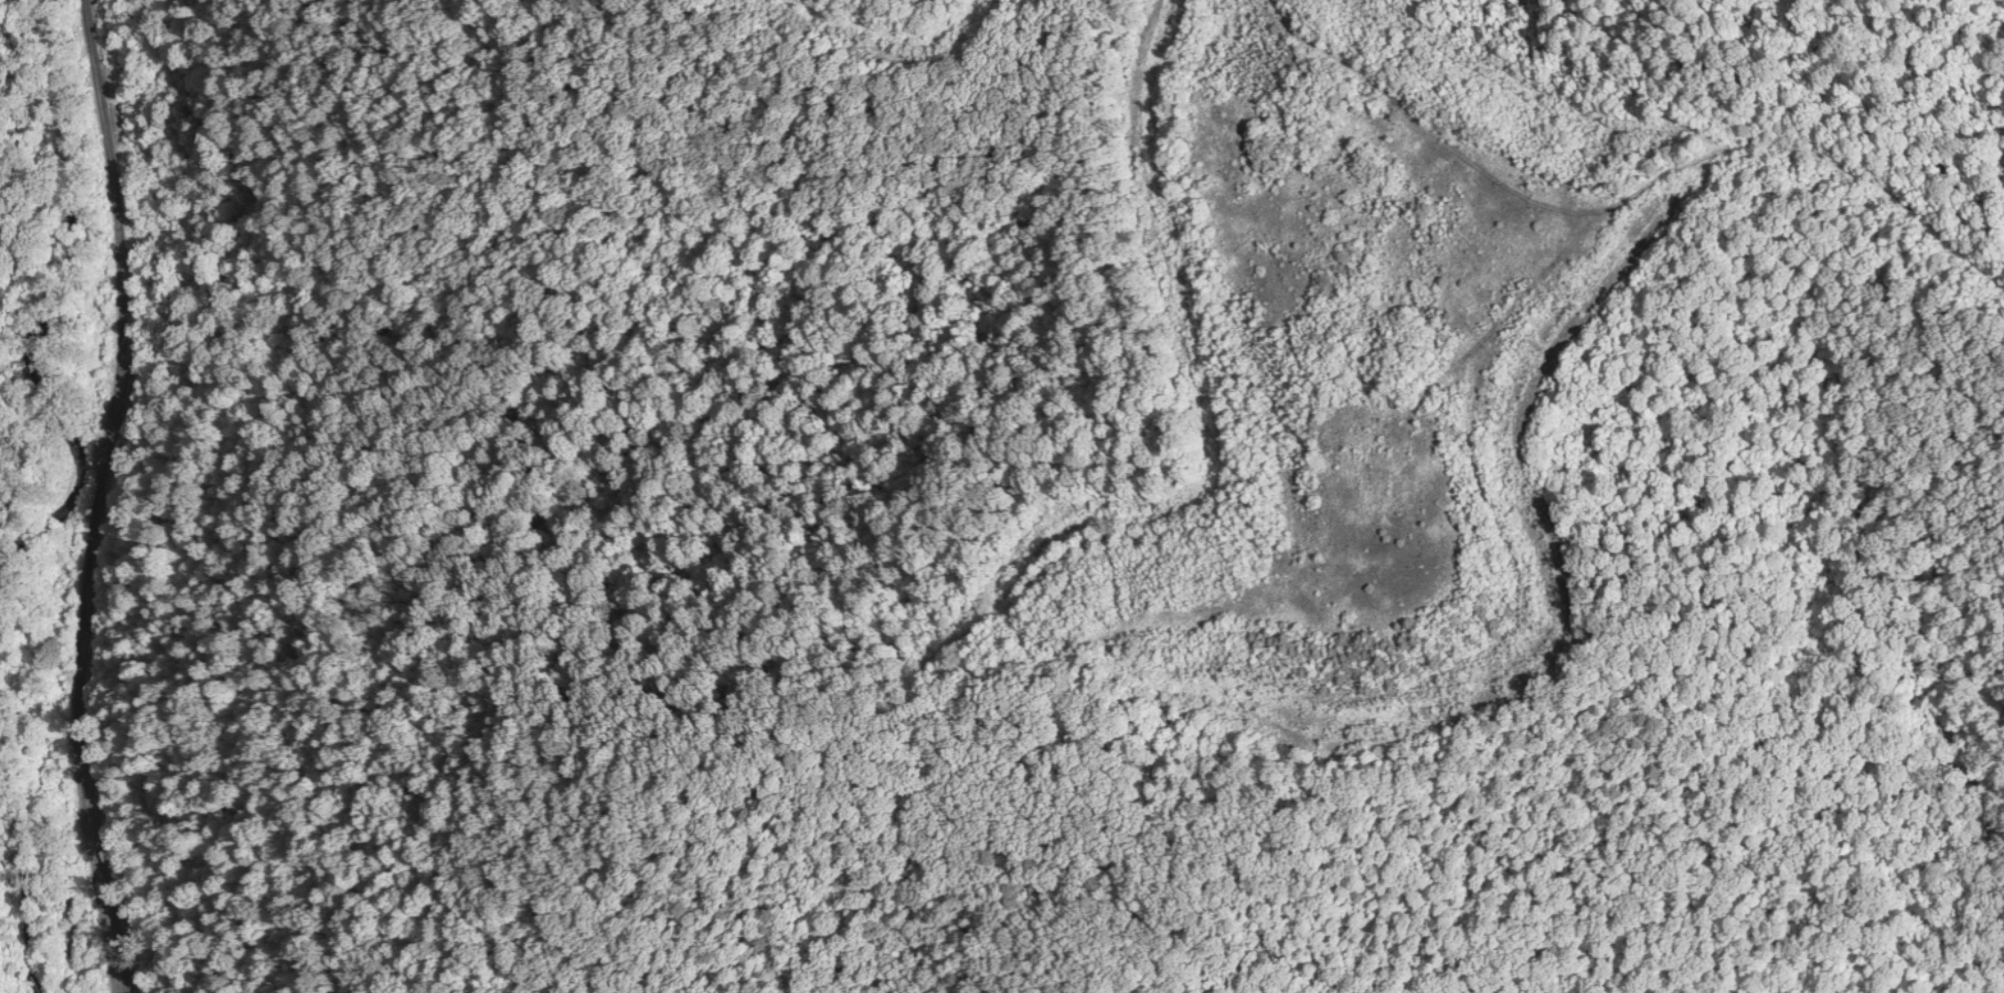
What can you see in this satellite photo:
road: (117, 497)
quarry: (211, 509)

